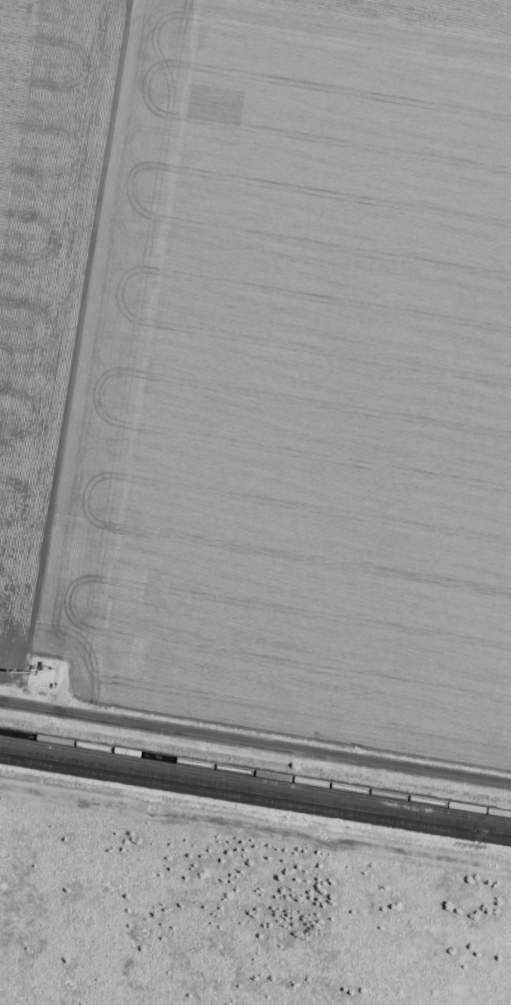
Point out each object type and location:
crop: (261, 360)
road: (255, 743)
railway: (255, 777)
railway: (255, 788)

